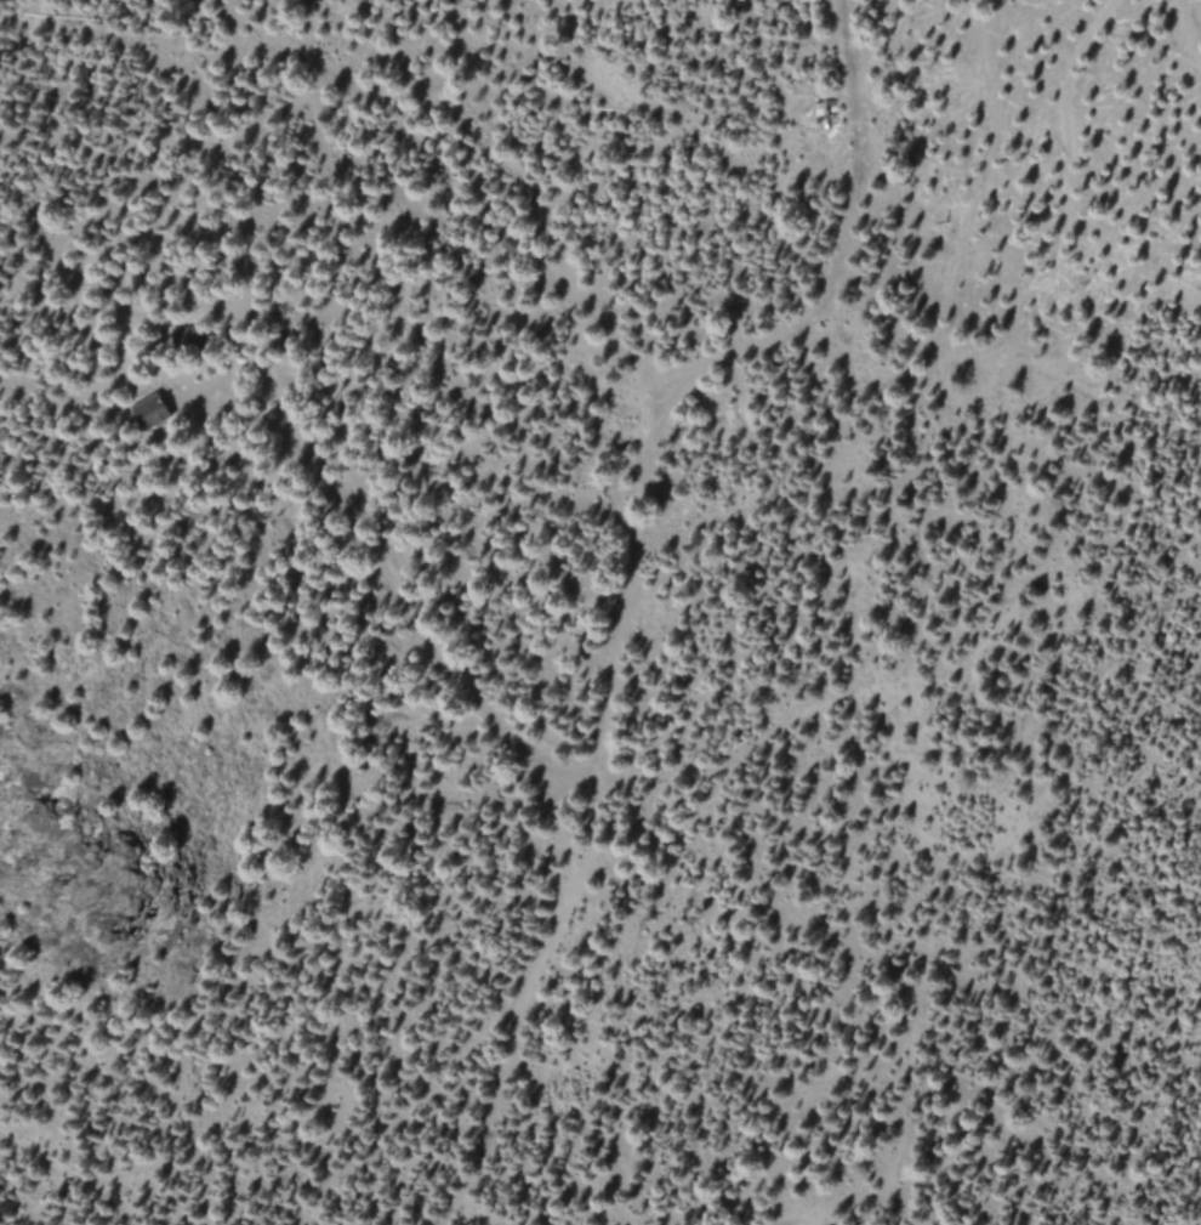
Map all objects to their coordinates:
road: (847, 61)
road: (27, 1201)

